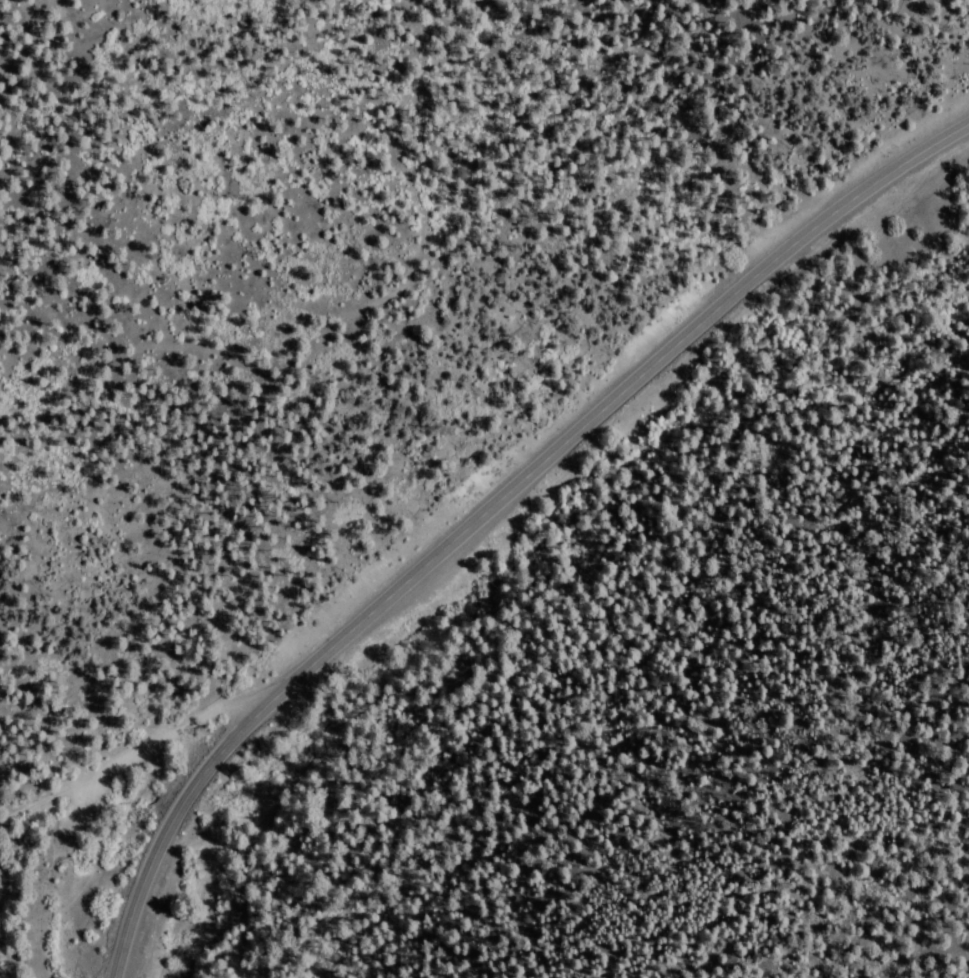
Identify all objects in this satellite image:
road: (318, 284)
road: (486, 506)
road: (136, 744)

